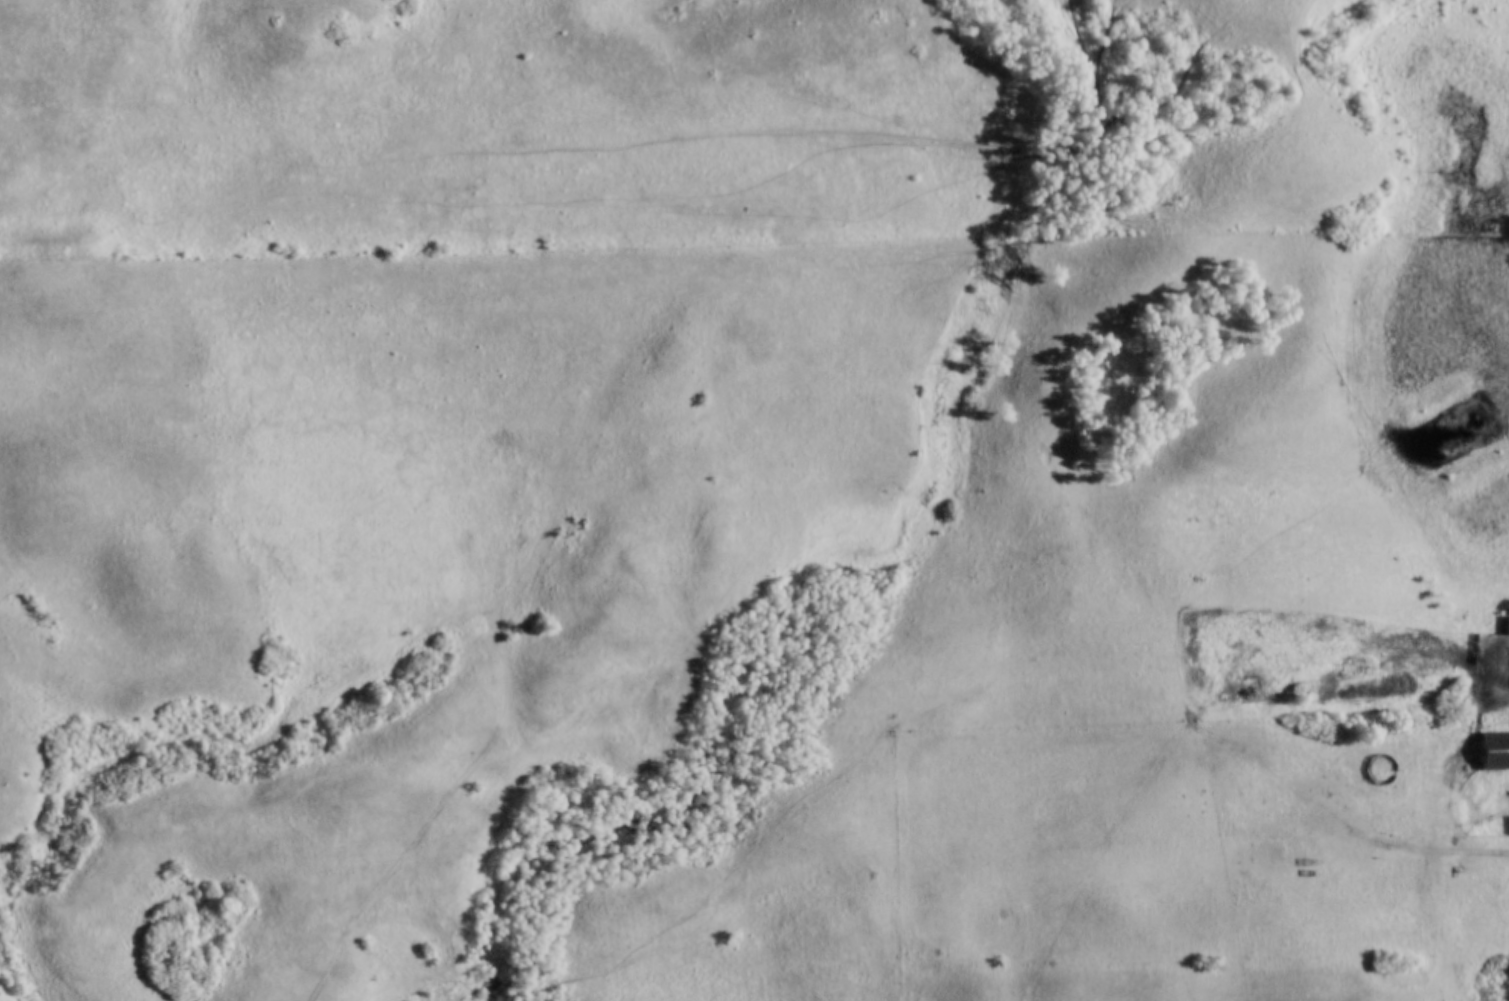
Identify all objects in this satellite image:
building: (1507, 624)
building: (1495, 749)
road: (1501, 759)

